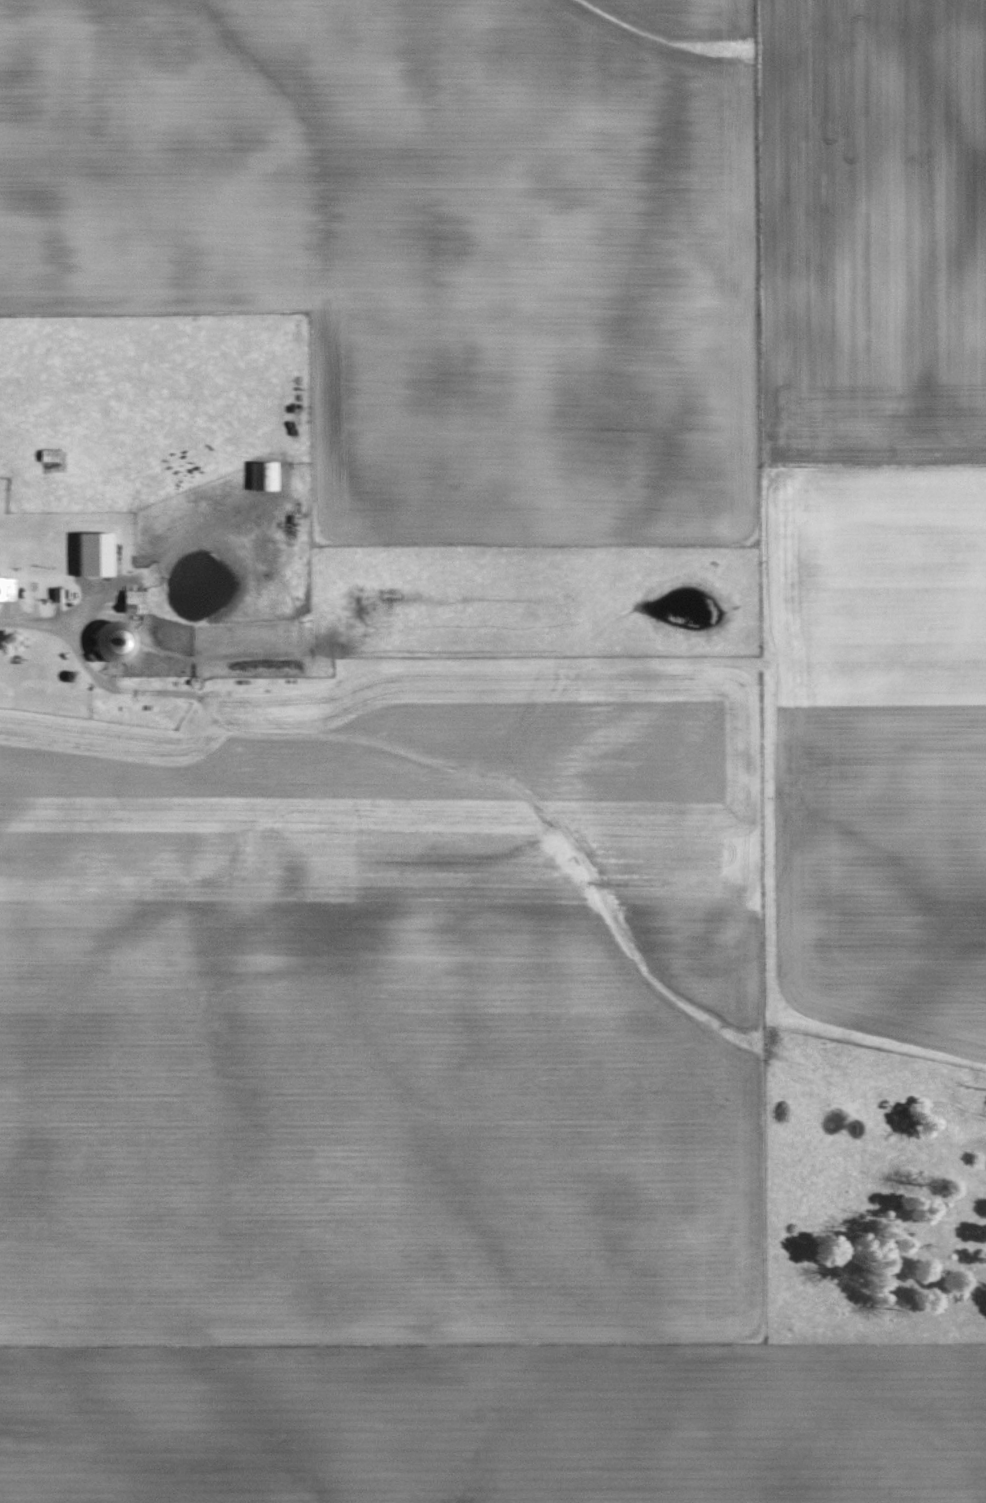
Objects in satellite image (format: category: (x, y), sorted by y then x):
building: (40, 352)
building: (45, 455)
building: (260, 475)
building: (6, 588)
building: (129, 601)
road: (40, 622)
building: (105, 641)

